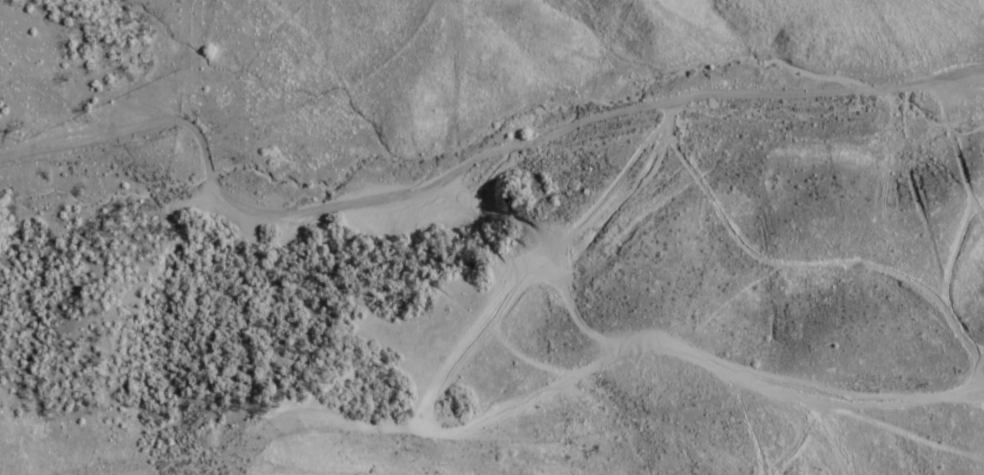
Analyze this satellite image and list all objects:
road: (471, 172)

